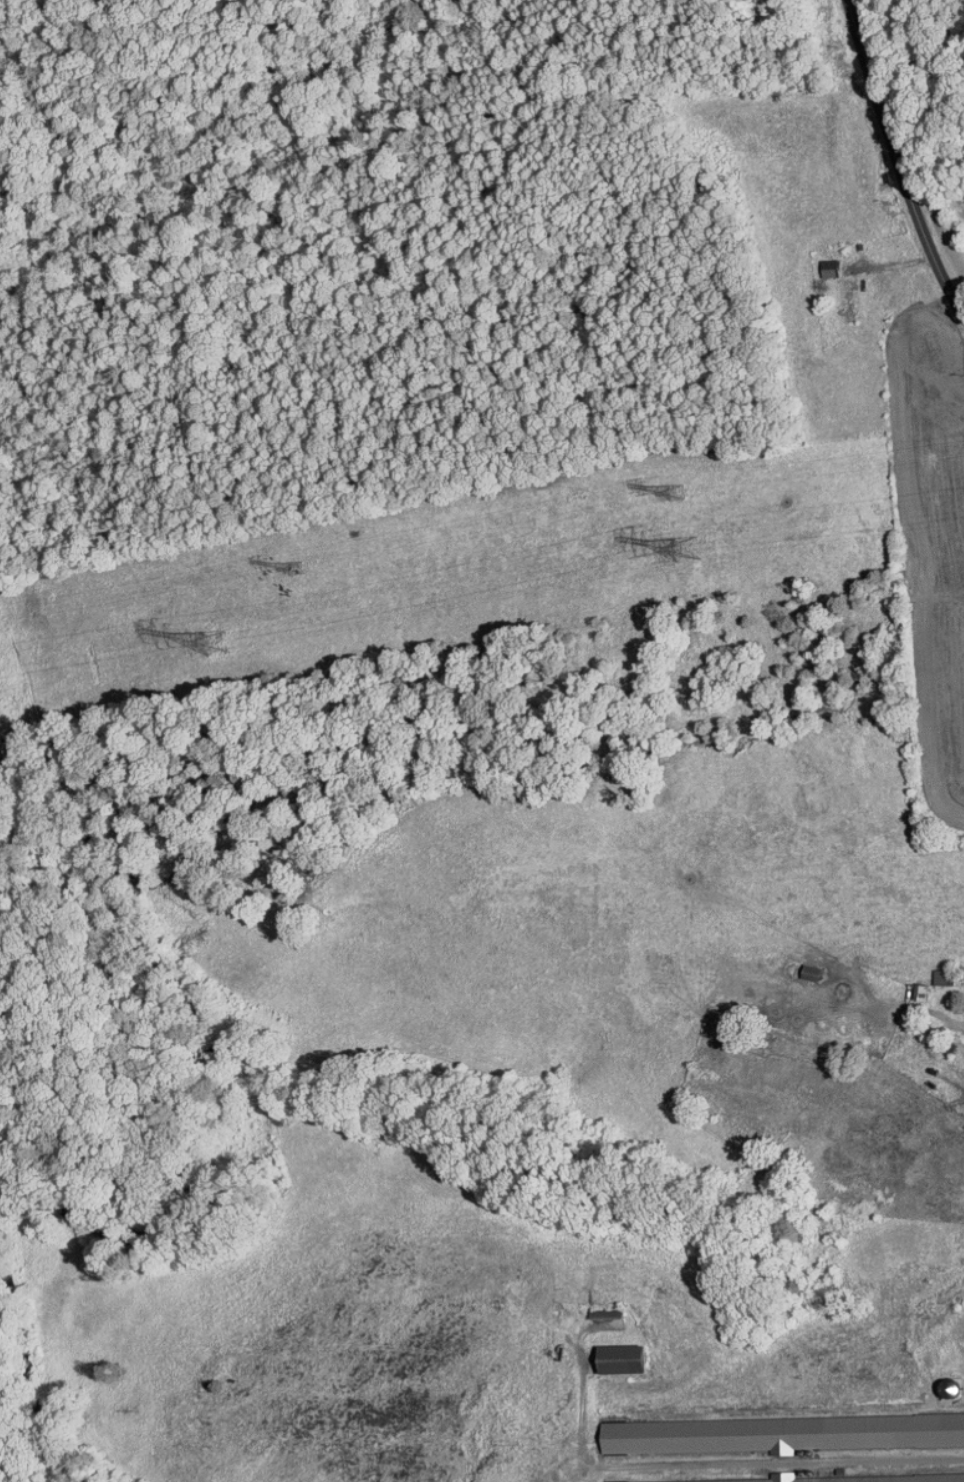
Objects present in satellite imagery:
road: (897, 162)
building: (822, 262)
power tower: (679, 493)
power tower: (691, 552)
power tower: (303, 569)
power tower: (224, 642)
building: (616, 1353)
building: (777, 1428)
building: (806, 1476)

